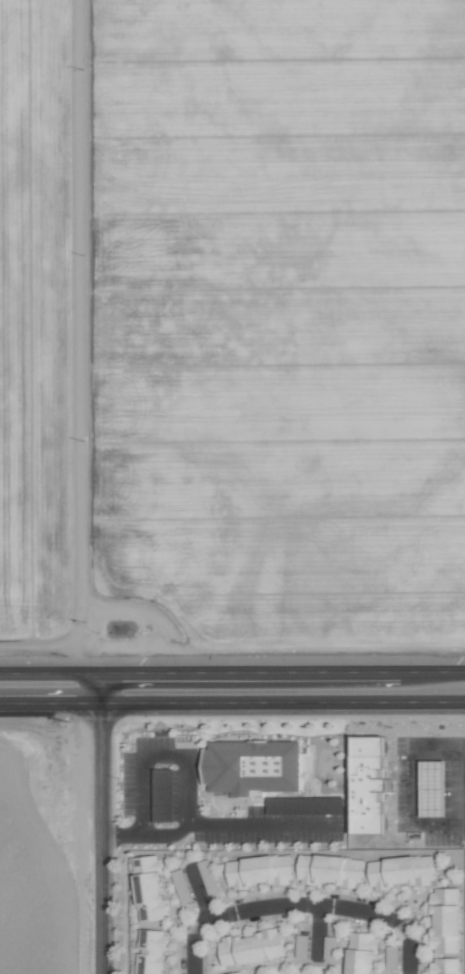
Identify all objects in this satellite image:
road: (232, 673)
road: (232, 701)
road: (158, 755)
road: (458, 758)
building: (251, 765)
building: (369, 782)
building: (432, 787)
road: (97, 823)
road: (214, 825)
building: (329, 869)
building: (258, 870)
building: (400, 870)
building: (147, 886)
road: (197, 892)
road: (298, 905)
building: (443, 919)
road: (316, 932)
building: (249, 946)
building: (149, 950)
building: (360, 952)
building: (444, 965)
building: (234, 972)

